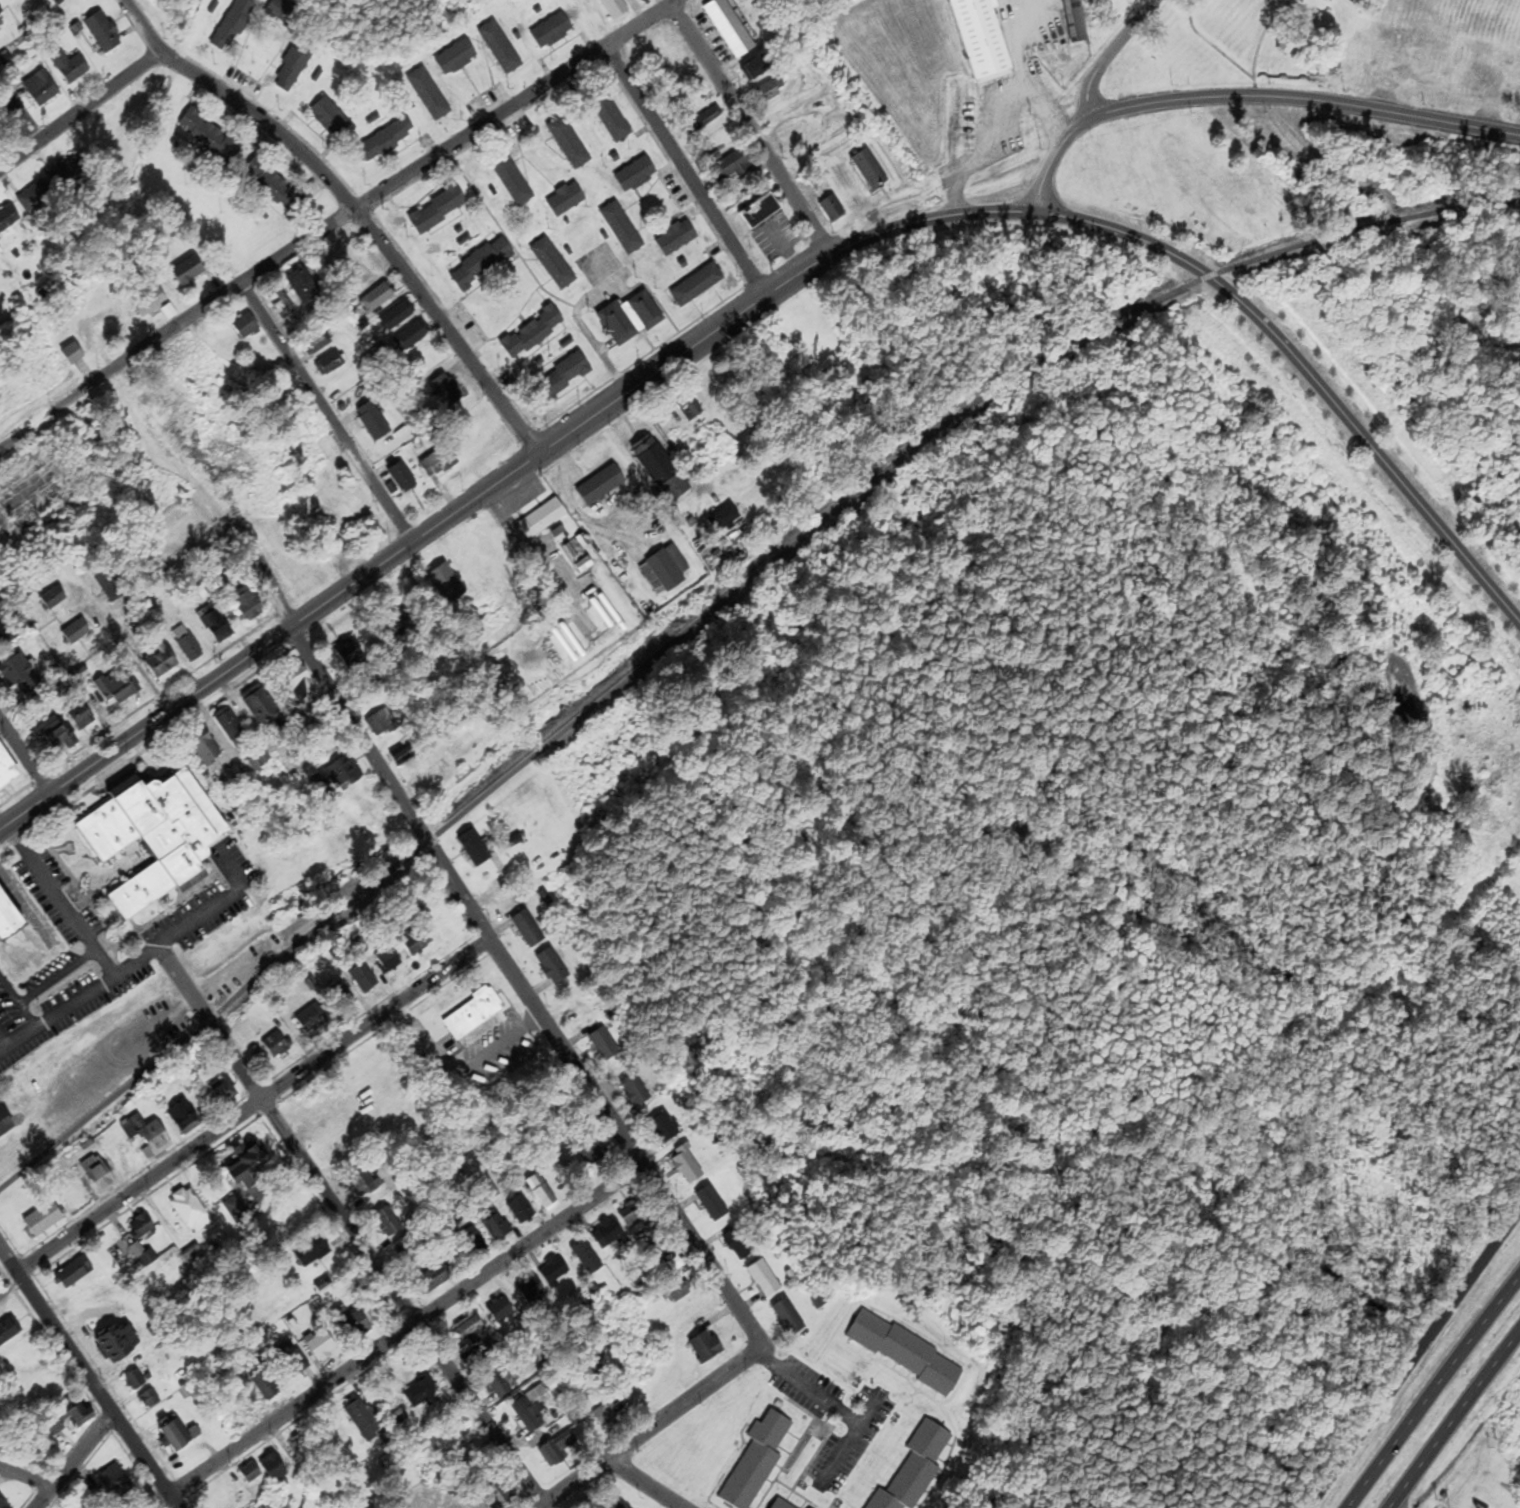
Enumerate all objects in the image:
building: (11, 0)
building: (1330, 1)
building: (616, 9)
building: (1, 12)
building: (1073, 21)
building: (233, 24)
building: (730, 28)
building: (1364, 30)
building: (550, 32)
building: (103, 33)
building: (990, 35)
road: (1209, 44)
building: (500, 48)
road: (1106, 52)
building: (1186, 54)
building: (456, 58)
building: (1452, 66)
building: (293, 67)
building: (70, 68)
building: (757, 69)
building: (41, 89)
building: (770, 90)
building: (426, 92)
road: (1248, 95)
road: (79, 112)
road: (18, 114)
building: (330, 118)
road: (992, 118)
building: (611, 119)
building: (705, 120)
road: (1284, 126)
road: (750, 131)
building: (795, 135)
building: (210, 137)
building: (387, 141)
building: (568, 143)
building: (733, 166)
building: (870, 170)
road: (687, 172)
building: (68, 173)
building: (636, 175)
building: (511, 180)
building: (273, 186)
building: (36, 197)
building: (565, 200)
road: (349, 204)
building: (831, 209)
building: (439, 210)
building: (761, 211)
building: (9, 218)
road: (340, 221)
building: (620, 227)
building: (674, 239)
building: (553, 264)
building: (482, 265)
building: (190, 272)
building: (696, 286)
building: (304, 288)
building: (378, 298)
building: (150, 302)
building: (282, 306)
building: (397, 317)
building: (630, 319)
building: (246, 326)
building: (103, 330)
building: (532, 333)
building: (412, 337)
building: (317, 344)
building: (72, 354)
building: (329, 364)
road: (1307, 374)
building: (563, 379)
building: (448, 391)
building: (688, 406)
road: (326, 411)
building: (374, 422)
building: (439, 463)
building: (661, 469)
building: (402, 478)
road: (499, 479)
building: (601, 486)
building: (728, 518)
building: (542, 519)
road: (820, 521)
road: (246, 543)
building: (664, 570)
building: (116, 585)
building: (447, 585)
building: (53, 599)
building: (248, 603)
building: (0, 610)
building: (401, 623)
building: (216, 624)
building: (76, 632)
building: (4, 634)
building: (187, 644)
building: (350, 652)
road: (129, 657)
building: (160, 660)
building: (16, 673)
building: (302, 683)
building: (116, 686)
road: (158, 694)
building: (260, 705)
building: (79, 713)
building: (230, 724)
building: (304, 724)
building: (381, 725)
building: (53, 735)
road: (149, 746)
building: (205, 747)
building: (402, 756)
road: (24, 757)
building: (7, 770)
building: (338, 776)
road: (38, 778)
road: (15, 793)
building: (158, 839)
building: (474, 850)
road: (58, 900)
building: (9, 922)
building: (529, 931)
building: (417, 942)
road: (139, 959)
building: (387, 962)
building: (553, 968)
road: (53, 976)
building: (364, 980)
road: (519, 985)
building: (338, 996)
road: (16, 1006)
road: (173, 1010)
building: (474, 1015)
building: (311, 1020)
road: (205, 1022)
building: (605, 1044)
road: (1, 1045)
building: (275, 1046)
building: (635, 1090)
building: (225, 1092)
road: (252, 1105)
road: (98, 1110)
building: (184, 1116)
building: (6, 1123)
building: (665, 1129)
building: (149, 1134)
building: (590, 1150)
building: (248, 1163)
building: (687, 1166)
building: (100, 1175)
building: (364, 1183)
building: (542, 1194)
building: (712, 1204)
building: (188, 1208)
building: (522, 1212)
building: (238, 1213)
building: (632, 1215)
building: (386, 1218)
building: (44, 1219)
building: (141, 1227)
road: (347, 1227)
building: (497, 1228)
building: (610, 1231)
building: (476, 1244)
building: (739, 1245)
building: (312, 1251)
building: (193, 1256)
building: (588, 1257)
building: (554, 1272)
building: (73, 1273)
building: (433, 1279)
building: (764, 1279)
building: (531, 1290)
building: (501, 1311)
building: (788, 1318)
building: (353, 1325)
road: (404, 1328)
building: (9, 1331)
building: (471, 1332)
building: (121, 1342)
building: (323, 1346)
building: (706, 1348)
building: (906, 1353)
road: (1411, 1357)
building: (297, 1362)
road: (88, 1378)
building: (135, 1381)
building: (265, 1385)
building: (499, 1386)
road: (806, 1390)
road: (1432, 1391)
building: (421, 1394)
building: (149, 1400)
building: (531, 1409)
building: (611, 1411)
building: (74, 1414)
building: (575, 1418)
building: (363, 1420)
road: (1457, 1425)
road: (651, 1426)
building: (178, 1436)
road: (849, 1440)
building: (300, 1448)
road: (71, 1460)
building: (756, 1461)
building: (274, 1467)
building: (915, 1469)
building: (251, 1475)
road: (25, 1476)
building: (115, 1483)
road: (645, 1483)
building: (222, 1497)
building: (495, 1498)
road: (156, 1499)
building: (609, 1503)
building: (3, 1504)
building: (780, 1505)

